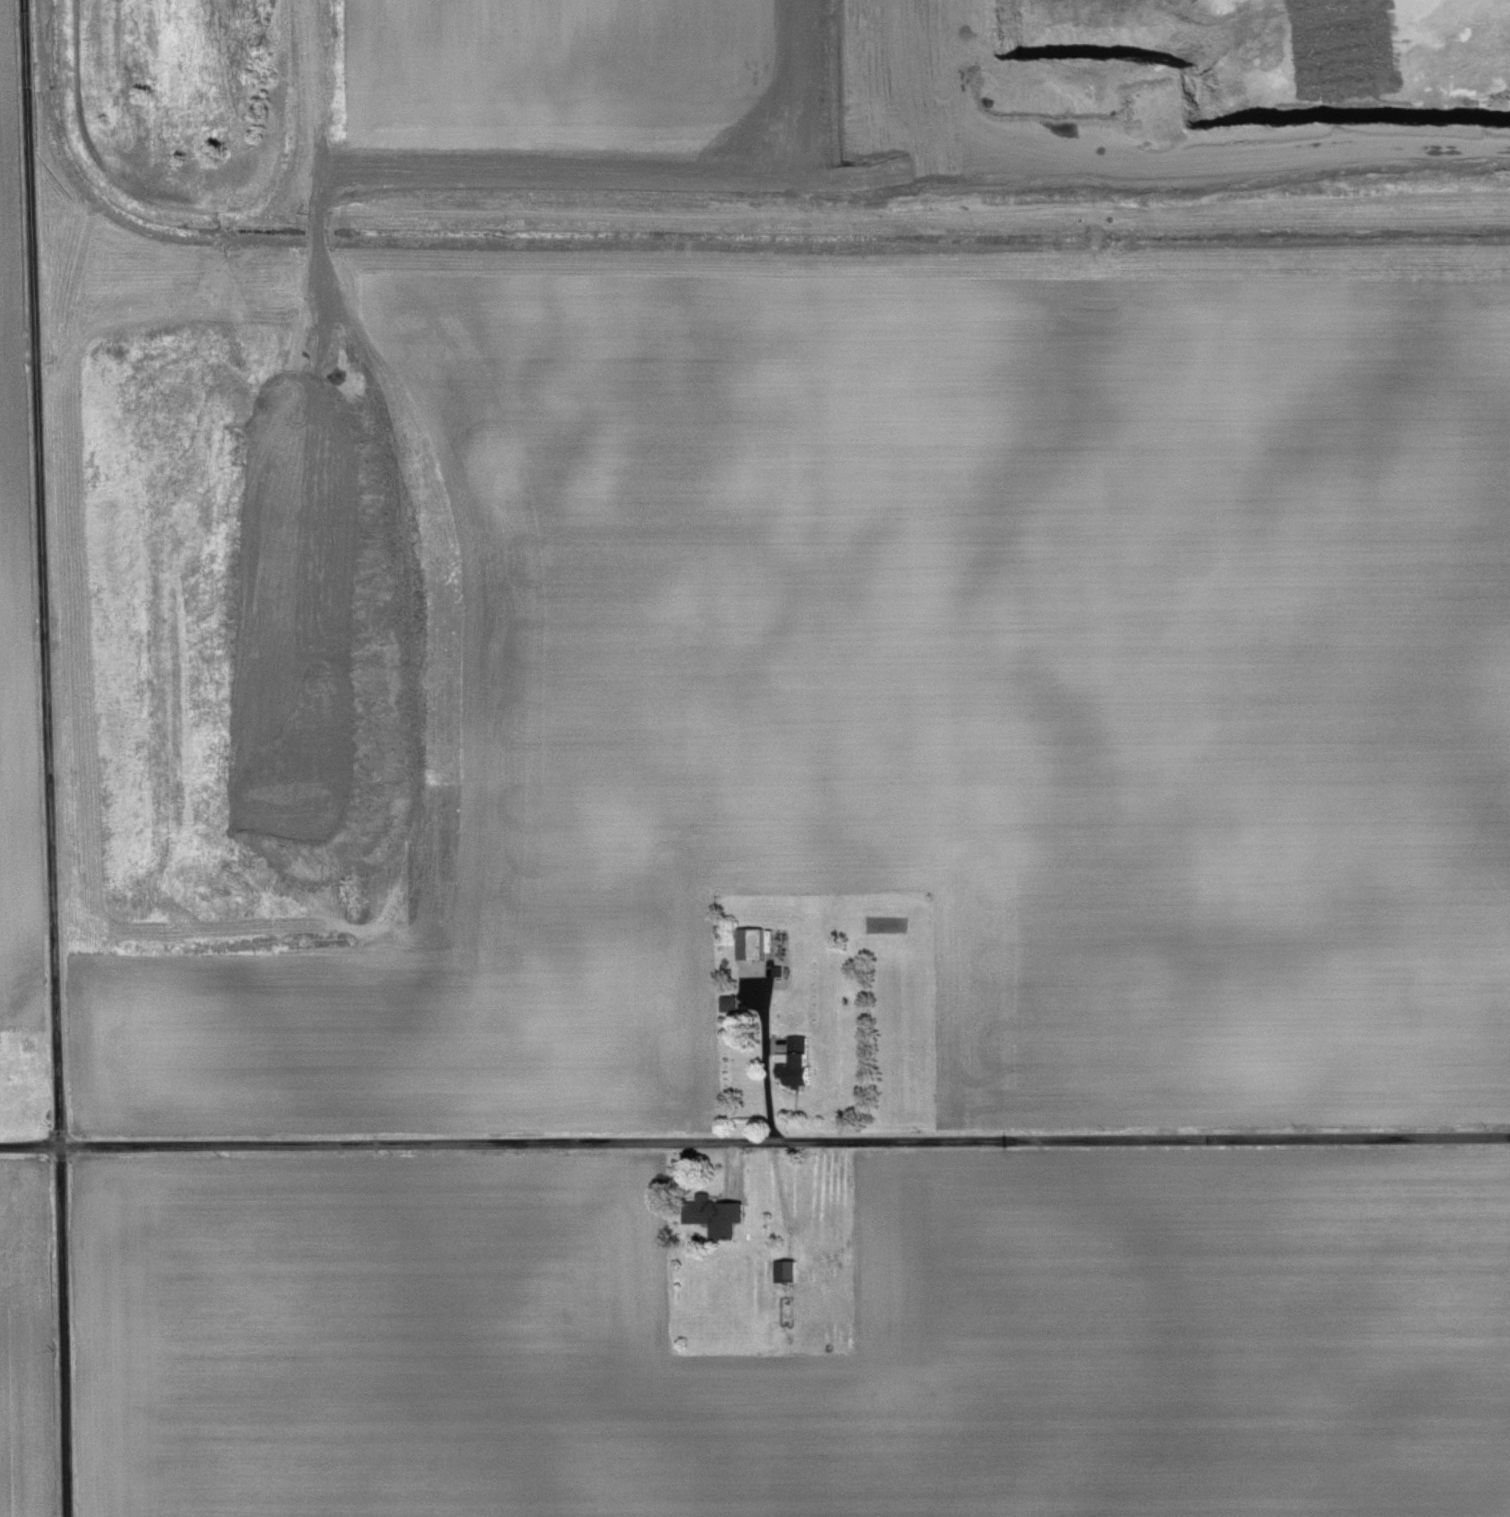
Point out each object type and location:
quarry: (1226, 130)
building: (1095, 237)
quarry: (211, 712)
road: (48, 758)
building: (747, 944)
building: (727, 1003)
building: (794, 1063)
road: (754, 1144)
building: (713, 1216)
building: (823, 1225)
building: (783, 1271)

